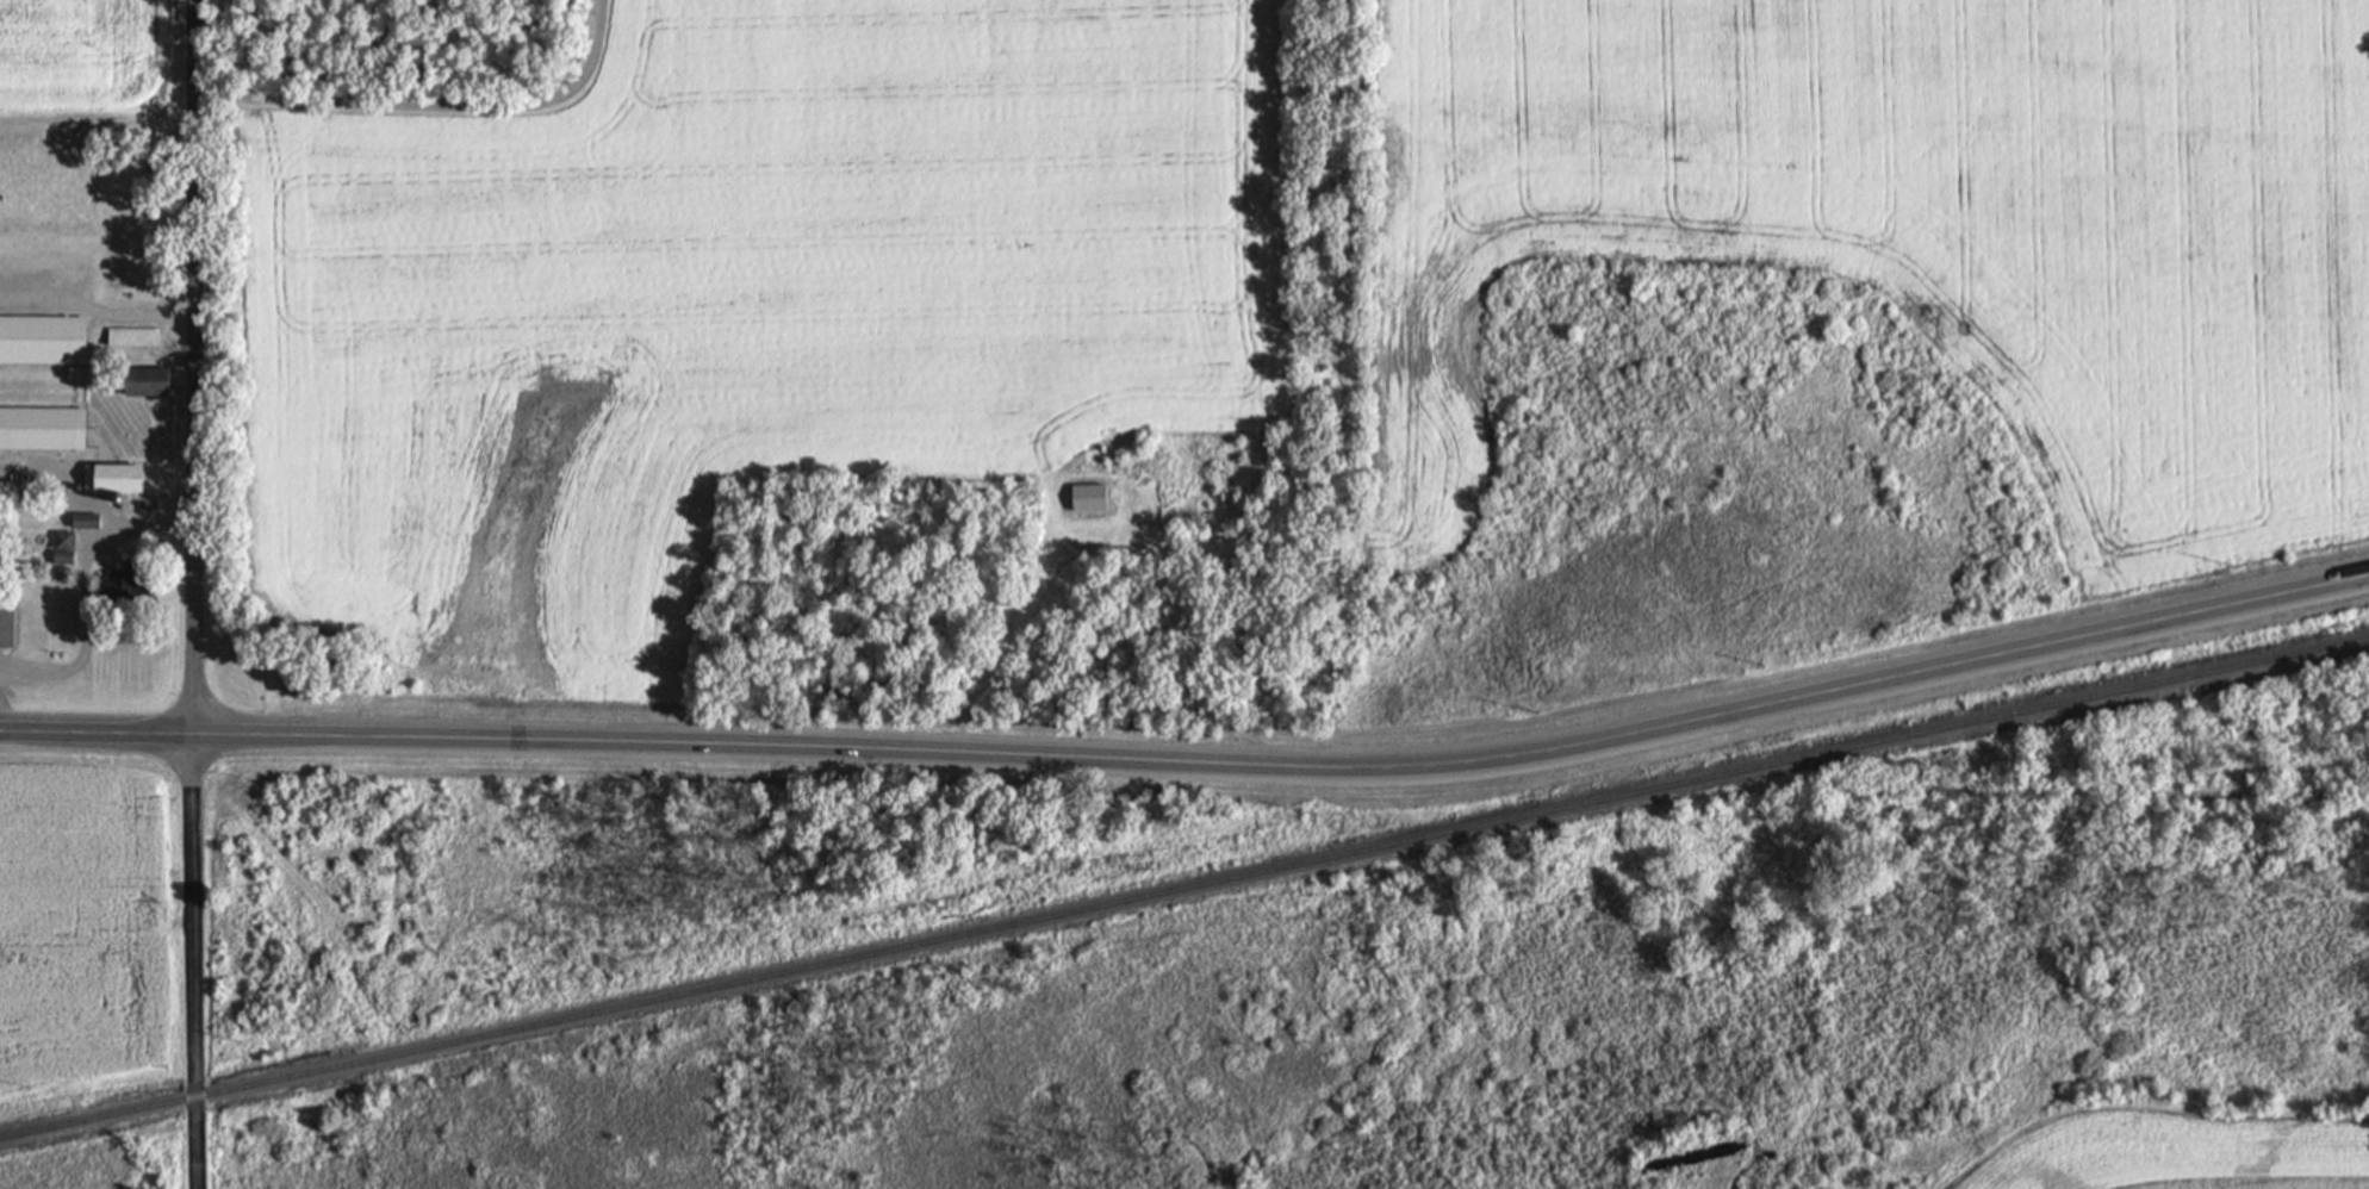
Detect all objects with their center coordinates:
road: (429, 100)
road: (97, 113)
road: (95, 310)
building: (41, 337)
building: (129, 337)
road: (193, 366)
building: (144, 379)
building: (41, 427)
building: (110, 475)
road: (67, 487)
building: (83, 519)
building: (61, 539)
road: (1101, 546)
building: (60, 556)
building: (122, 581)
road: (81, 590)
building: (5, 616)
road: (94, 730)
road: (1288, 765)
road: (2113, 793)
railway: (1184, 886)
road: (191, 960)

